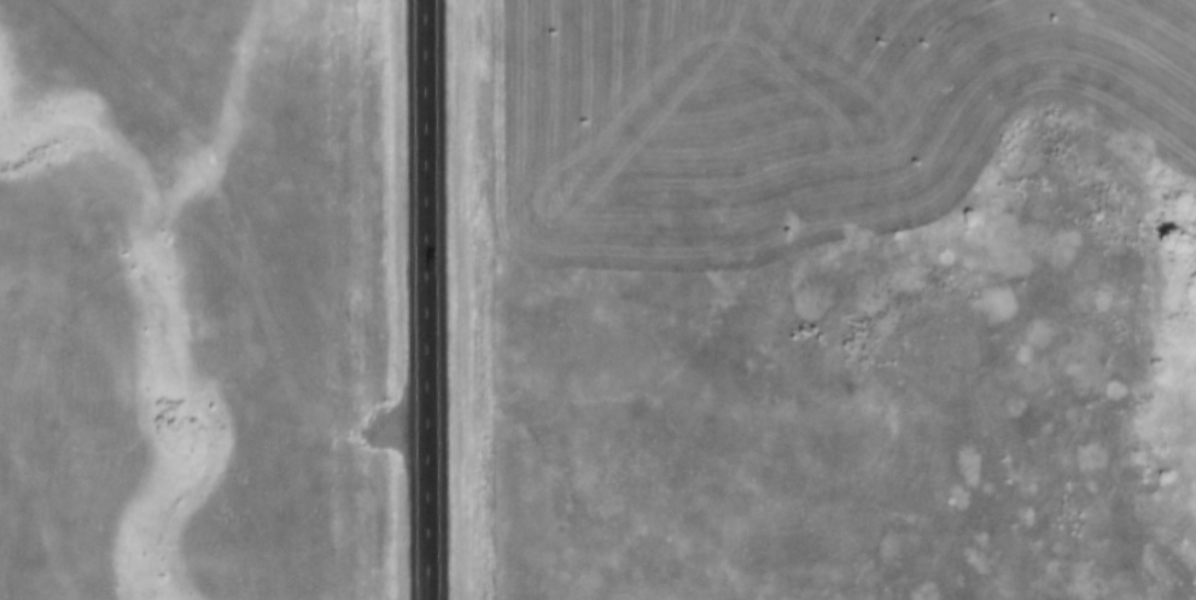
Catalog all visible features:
road: (246, 228)
road: (431, 299)

